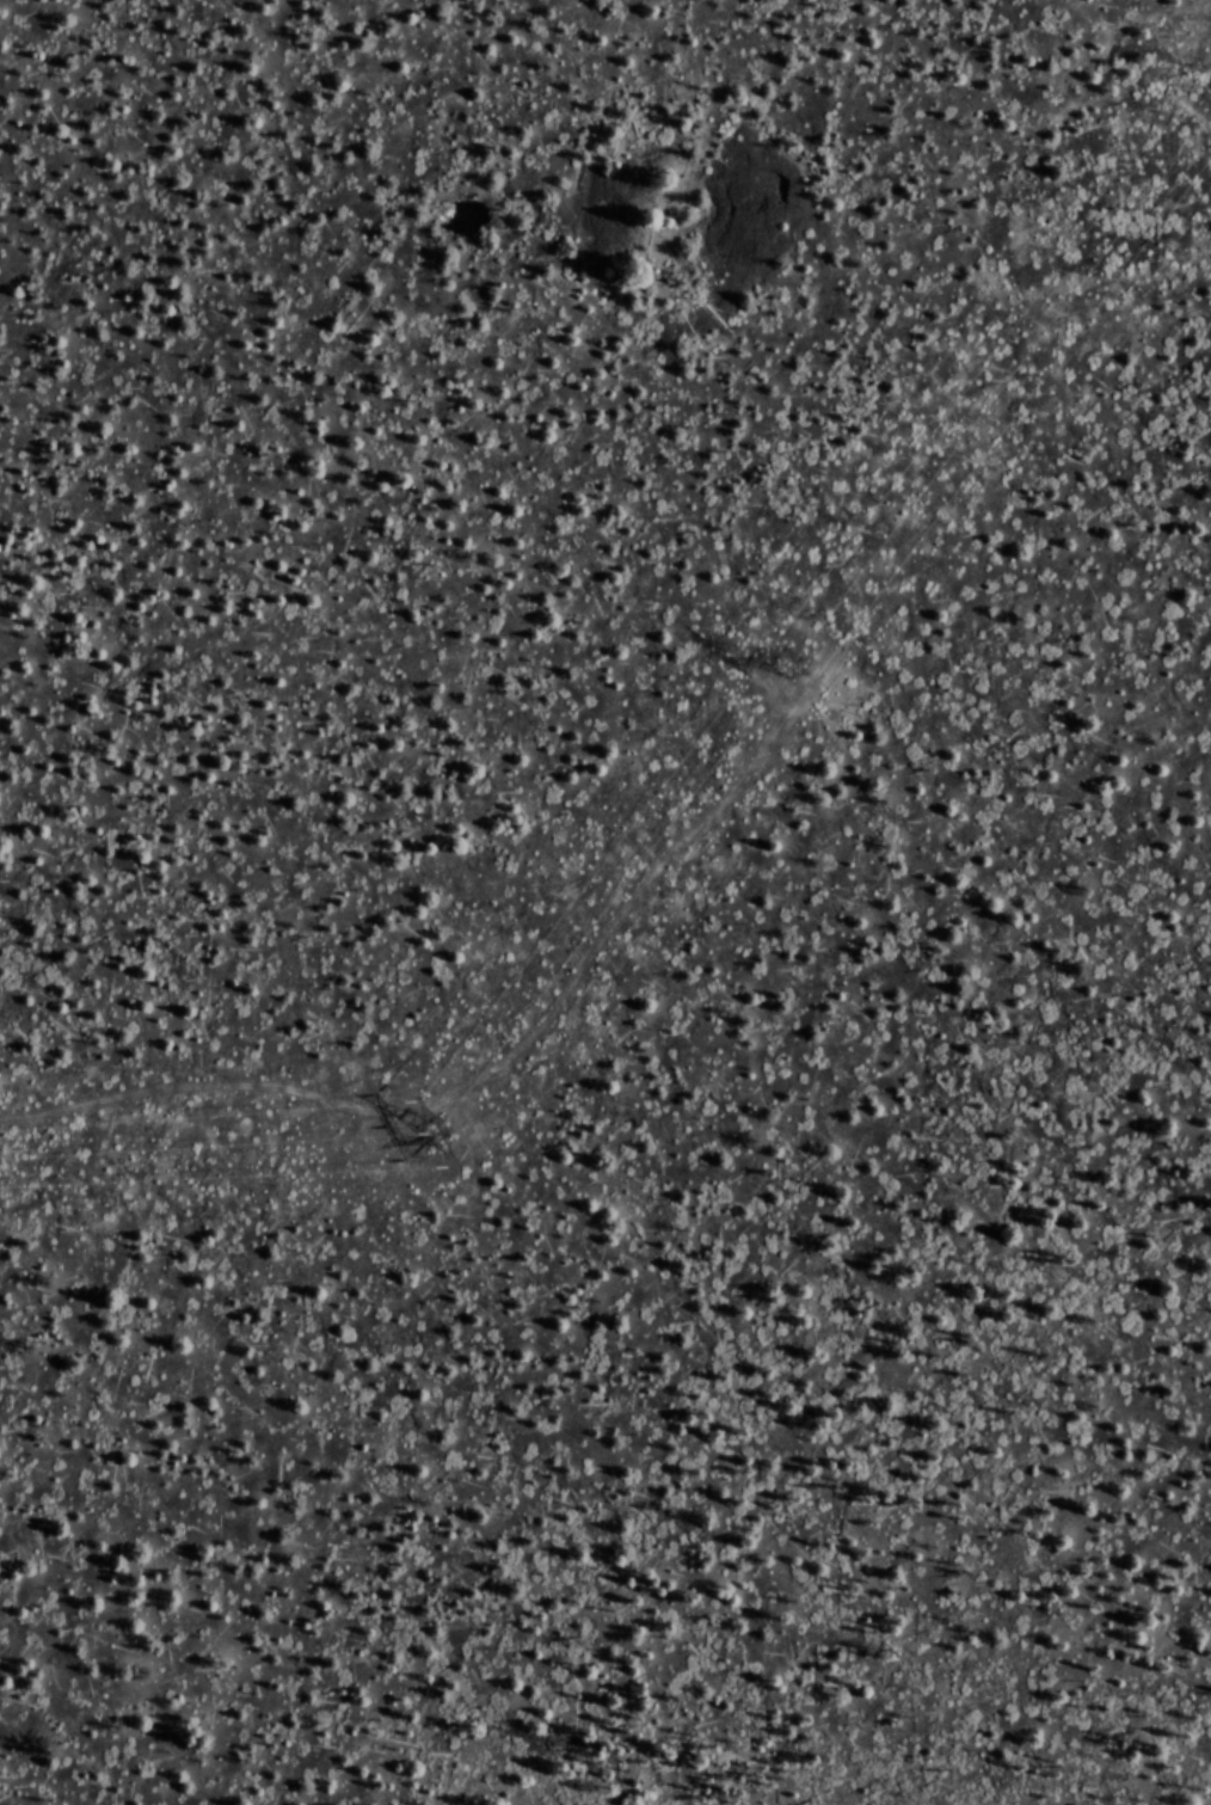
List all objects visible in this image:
power tower: (791, 656)
power tower: (441, 1113)

